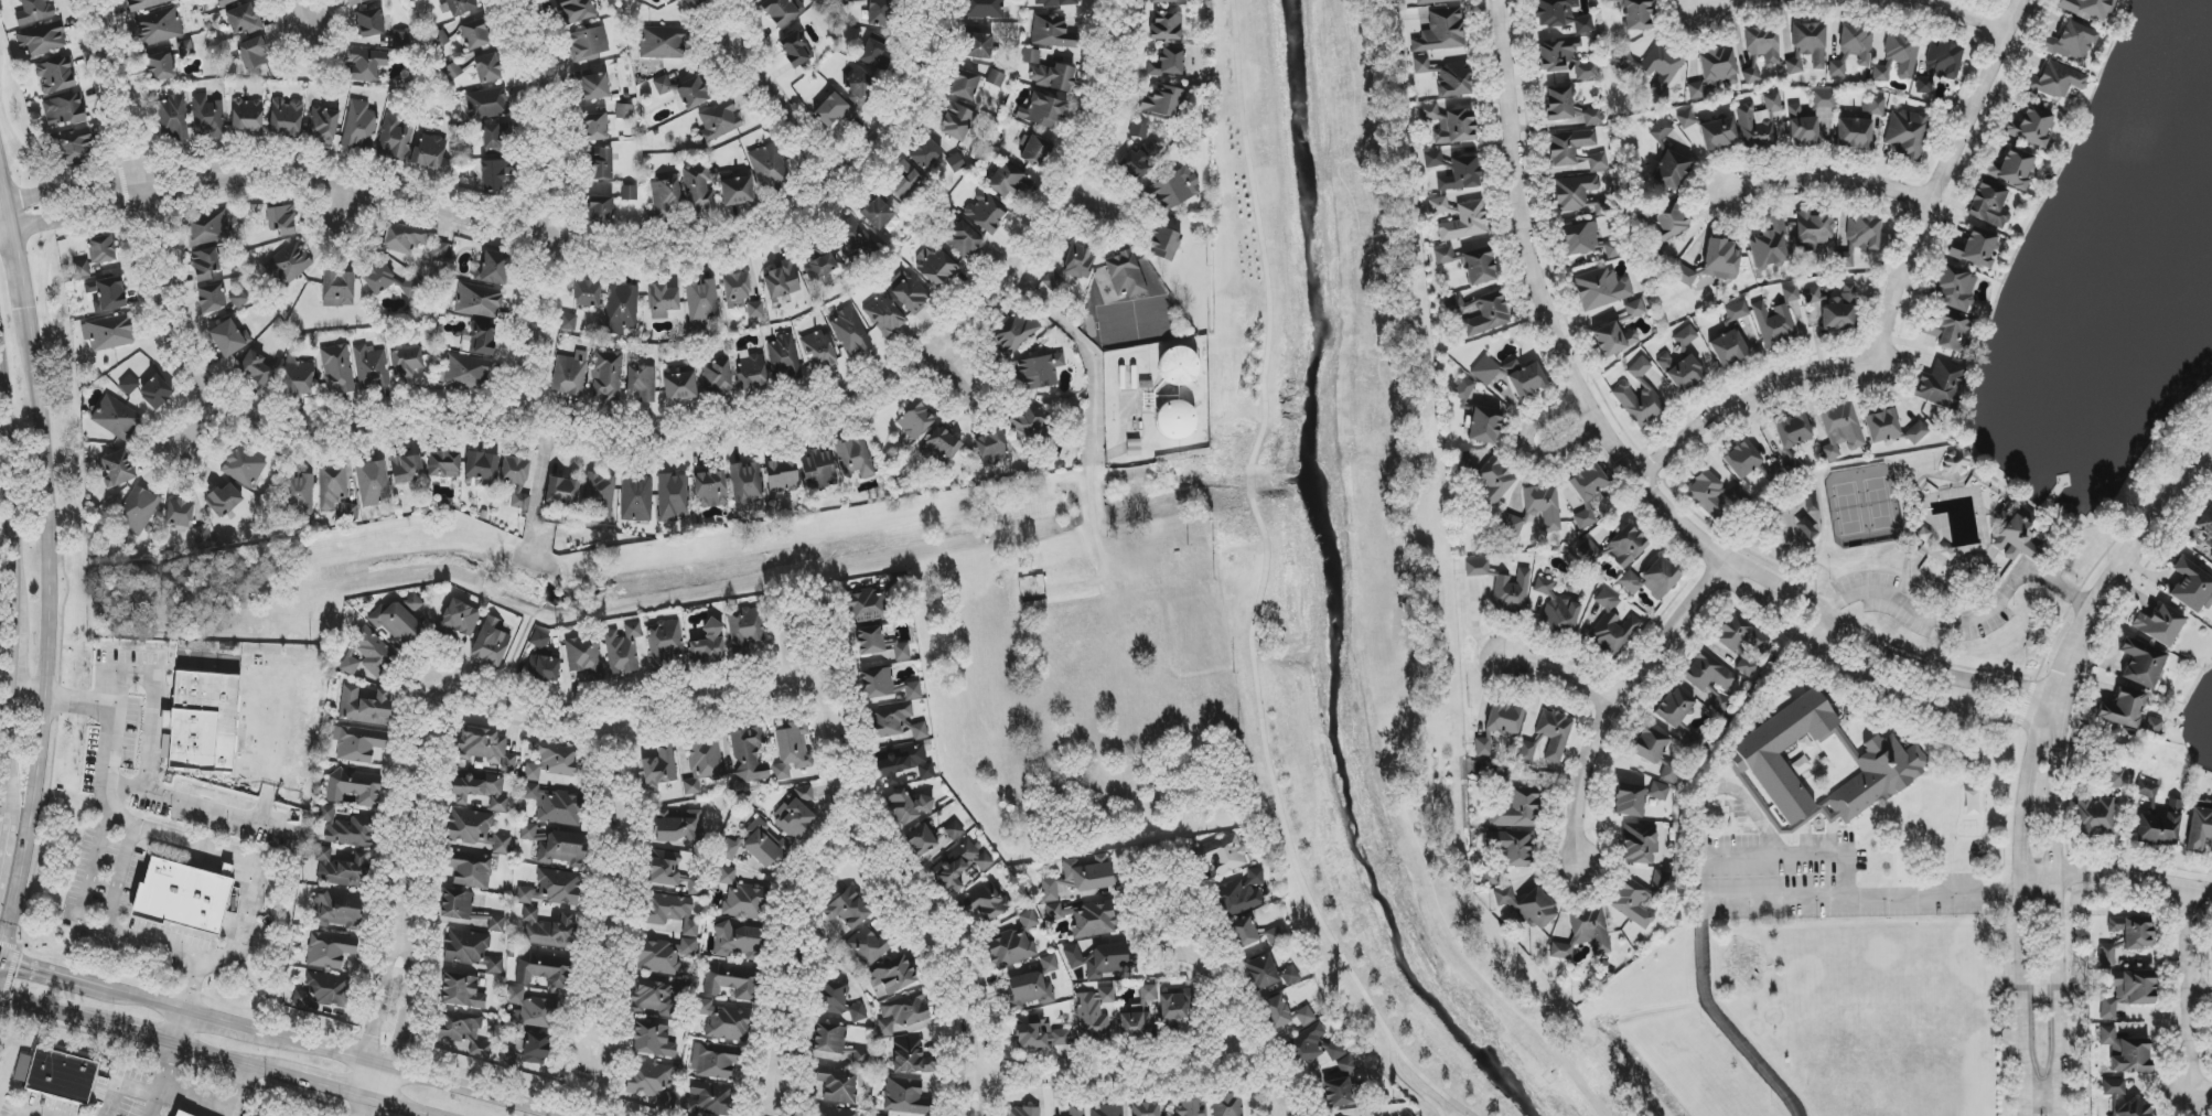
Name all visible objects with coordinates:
building: (1167, 1)
building: (1433, 1)
road: (1709, 1)
building: (227, 2)
building: (355, 2)
building: (694, 3)
building: (1057, 3)
building: (147, 4)
building: (460, 7)
building: (984, 9)
building: (2087, 9)
building: (575, 10)
building: (34, 11)
building: (780, 11)
road: (1953, 11)
building: (880, 12)
building: (1554, 12)
building: (1636, 14)
road: (289, 17)
building: (244, 20)
building: (369, 23)
building: (1583, 24)
building: (159, 26)
building: (1167, 26)
building: (1440, 30)
building: (1052, 32)
building: (475, 34)
building: (42, 39)
building: (401, 40)
building: (977, 42)
building: (2071, 42)
building: (662, 43)
building: (588, 44)
building: (1763, 44)
building: (1807, 46)
building: (185, 49)
building: (796, 49)
building: (1853, 49)
building: (253, 53)
building: (874, 53)
building: (1902, 53)
building: (1558, 55)
building: (1030, 56)
building: (1168, 62)
building: (365, 65)
building: (1654, 65)
building: (1939, 65)
building: (161, 67)
building: (487, 68)
building: (1586, 71)
building: (1714, 72)
building: (1881, 73)
building: (54, 76)
building: (1053, 77)
building: (1447, 77)
building: (996, 78)
building: (2053, 82)
building: (965, 85)
building: (593, 86)
building: (859, 86)
building: (684, 90)
road: (761, 99)
building: (1823, 99)
building: (1162, 101)
building: (486, 104)
building: (1559, 104)
building: (1872, 106)
building: (64, 109)
building: (623, 111)
building: (834, 111)
building: (1043, 111)
building: (167, 112)
building: (247, 116)
building: (206, 117)
building: (286, 117)
building: (1591, 117)
building: (1686, 119)
building: (1823, 119)
building: (719, 120)
building: (955, 121)
building: (1760, 122)
building: (323, 124)
building: (1449, 125)
building: (359, 126)
building: (594, 127)
building: (2031, 127)
building: (1802, 128)
building: (1139, 130)
building: (1661, 130)
building: (1718, 133)
building: (1854, 133)
building: (1907, 133)
building: (494, 137)
building: (394, 140)
building: (73, 148)
building: (429, 151)
building: (1034, 151)
building: (1575, 151)
building: (925, 153)
building: (1436, 160)
building: (1139, 162)
building: (599, 163)
building: (770, 167)
building: (2011, 168)
building: (1672, 170)
building: (495, 174)
road: (8, 175)
building: (1461, 175)
road: (1824, 175)
building: (902, 181)
building: (1009, 181)
building: (698, 189)
building: (1172, 190)
building: (737, 191)
building: (629, 193)
building: (1578, 194)
building: (664, 196)
road: (137, 201)
road: (1080, 201)
building: (1988, 204)
road: (347, 205)
road: (8, 206)
road: (555, 206)
building: (600, 211)
building: (877, 211)
building: (986, 212)
building: (280, 219)
building: (1666, 219)
building: (1464, 222)
building: (204, 228)
road: (525, 232)
building: (1814, 232)
building: (404, 238)
building: (963, 239)
building: (1579, 239)
building: (1859, 239)
building: (853, 242)
building: (1163, 244)
building: (1770, 245)
building: (1972, 246)
building: (101, 249)
building: (440, 249)
building: (1612, 249)
road: (23, 256)
building: (290, 261)
building: (1716, 261)
building: (1078, 262)
building: (205, 264)
building: (820, 264)
building: (1469, 264)
building: (936, 267)
building: (493, 268)
building: (82, 269)
building: (1125, 275)
building: (378, 278)
building: (1053, 280)
building: (781, 281)
building: (409, 288)
building: (1953, 288)
building: (339, 289)
building: (1600, 289)
building: (737, 291)
building: (238, 292)
building: (908, 292)
building: (587, 293)
building: (1791, 293)
building: (107, 294)
building: (1812, 294)
building: (212, 298)
building: (479, 301)
building: (662, 301)
building: (702, 301)
road: (1894, 307)
building: (621, 308)
building: (1634, 309)
building: (755, 310)
building: (1839, 310)
road: (1544, 311)
building: (1737, 311)
building: (1480, 313)
building: (884, 315)
building: (568, 322)
building: (1773, 323)
building: (1013, 331)
building: (1946, 331)
building: (850, 332)
building: (108, 333)
building: (1685, 336)
building: (227, 339)
building: (482, 339)
building: (1613, 339)
road: (1081, 340)
building: (1728, 348)
building: (818, 351)
building: (786, 360)
building: (407, 362)
building: (371, 366)
building: (1178, 367)
building: (257, 368)
building: (337, 369)
road: (941, 369)
building: (751, 371)
building: (1039, 372)
building: (1681, 372)
building: (468, 373)
building: (570, 374)
building: (1511, 375)
building: (606, 376)
building: (717, 378)
building: (299, 379)
building: (643, 384)
building: (1940, 384)
building: (129, 385)
building: (679, 387)
building: (155, 391)
building: (1639, 396)
road: (763, 412)
building: (116, 418)
building: (914, 420)
building: (1174, 420)
building: (1030, 426)
building: (1484, 426)
building: (1881, 426)
road: (176, 428)
building: (1793, 430)
building: (1840, 430)
building: (1916, 432)
building: (941, 448)
building: (991, 448)
road: (1527, 448)
road: (2210, 453)
building: (856, 459)
building: (1742, 459)
building: (1956, 462)
building: (443, 464)
building: (244, 466)
building: (482, 468)
building: (117, 469)
building: (405, 469)
building: (818, 469)
building: (782, 475)
building: (516, 480)
building: (373, 483)
building: (748, 487)
building: (332, 489)
building: (710, 489)
building: (562, 491)
building: (1587, 493)
building: (600, 494)
building: (1711, 494)
building: (673, 496)
building: (300, 498)
building: (636, 500)
building: (224, 501)
road: (54, 503)
building: (1544, 505)
building: (138, 511)
road: (1092, 511)
building: (348, 512)
building: (180, 513)
building: (1796, 524)
park: (1794, 525)
building: (1510, 526)
building: (202, 534)
building: (2016, 536)
building: (1626, 546)
building: (1589, 551)
building: (2211, 556)
road: (18, 557)
building: (1477, 568)
building: (1652, 579)
building: (895, 583)
road: (2111, 583)
building: (2188, 584)
road: (1263, 587)
building: (1511, 591)
building: (866, 607)
road: (1953, 621)
building: (458, 622)
building: (396, 624)
building: (1612, 625)
building: (2159, 625)
building: (745, 631)
building: (889, 636)
building: (491, 642)
building: (867, 642)
building: (1741, 642)
building: (664, 643)
road: (1881, 644)
building: (710, 645)
building: (622, 648)
building: (902, 652)
building: (368, 655)
building: (584, 657)
building: (543, 659)
building: (2141, 663)
road: (1559, 668)
building: (1708, 674)
road: (1869, 675)
building: (887, 687)
road: (31, 696)
road: (1619, 699)
road: (498, 705)
building: (365, 707)
building: (1674, 708)
building: (2123, 709)
building: (201, 721)
building: (896, 722)
building: (2154, 725)
building: (1499, 726)
building: (1553, 734)
road: (111, 740)
building: (358, 744)
building: (486, 748)
building: (792, 750)
building: (1654, 751)
building: (749, 754)
building: (1757, 758)
building: (552, 762)
building: (704, 763)
building: (903, 764)
building: (659, 766)
road: (146, 771)
building: (2119, 776)
building: (1875, 779)
road: (127, 787)
building: (356, 788)
road: (1726, 788)
building: (2146, 790)
building: (479, 792)
building: (1660, 792)
building: (1630, 801)
building: (555, 805)
building: (909, 807)
building: (1517, 809)
building: (795, 814)
building: (2093, 816)
building: (677, 826)
building: (2160, 826)
building: (345, 829)
building: (955, 829)
building: (476, 830)
building: (2200, 830)
road: (36, 831)
building: (922, 838)
road: (198, 841)
building: (1637, 844)
building: (763, 845)
building: (554, 846)
building: (1511, 847)
building: (1222, 854)
road: (862, 856)
building: (960, 867)
building: (665, 868)
building: (343, 869)
building: (470, 870)
building: (1080, 877)
road: (2117, 878)
building: (694, 884)
road: (602, 888)
building: (552, 889)
building: (182, 893)
building: (1242, 894)
building: (1639, 900)
road: (1747, 902)
building: (985, 903)
building: (848, 909)
building: (465, 911)
building: (336, 912)
building: (670, 913)
road: (110, 919)
building: (1094, 920)
road: (2022, 924)
road: (2055, 925)
building: (548, 930)
building: (2132, 931)
building: (1586, 932)
building: (1243, 933)
building: (1274, 936)
building: (1013, 944)
building: (870, 945)
building: (330, 951)
building: (470, 952)
road: (229, 955)
building: (2106, 955)
building: (663, 956)
road: (0, 959)
traffic signals: (1, 961)
building: (1100, 961)
road: (786, 962)
road: (0, 963)
road: (11, 969)
building: (544, 970)
building: (1269, 973)
building: (892, 975)
road: (56, 977)
building: (732, 981)
building: (1034, 984)
building: (462, 991)
building: (2127, 991)
building: (322, 992)
road: (378, 995)
building: (661, 996)
road: (2189, 998)
road: (1214, 1000)
road: (406, 1001)
building: (839, 1004)
road: (148, 1005)
building: (530, 1010)
building: (1276, 1012)
building: (902, 1013)
building: (1094, 1015)
building: (1139, 1016)
building: (1304, 1016)
road: (1719, 1020)
building: (730, 1024)
road: (86, 1026)
road: (215, 1026)
road: (179, 1032)
building: (1032, 1032)
building: (461, 1038)
building: (1061, 1038)
building: (828, 1039)
building: (653, 1040)
building: (1306, 1045)
building: (529, 1049)
building: (1334, 1050)
building: (2125, 1052)
road: (309, 1054)
building: (911, 1056)
building: (860, 1059)
building: (715, 1061)
road: (234, 1064)
road: (1110, 1073)
building: (56, 1075)
road: (160, 1082)
building: (652, 1082)
building: (1338, 1084)
road: (1411, 1084)
road: (369, 1086)
building: (834, 1086)
road: (331, 1090)
road: (244, 1092)
road: (965, 1093)
road: (453, 1094)
road: (984, 1094)
road: (2042, 1094)
building: (905, 1097)
road: (198, 1099)
building: (709, 1099)
building: (2123, 1099)
building: (1228, 1105)
road: (363, 1107)
road: (398, 1107)
building: (1191, 1108)
building: (1145, 1109)
building: (1077, 1110)
building: (1107, 1110)
building: (1022, 1112)
building: (838, 1113)
building: (178, 1114)
building: (1373, 1114)
building: (812, 1115)

